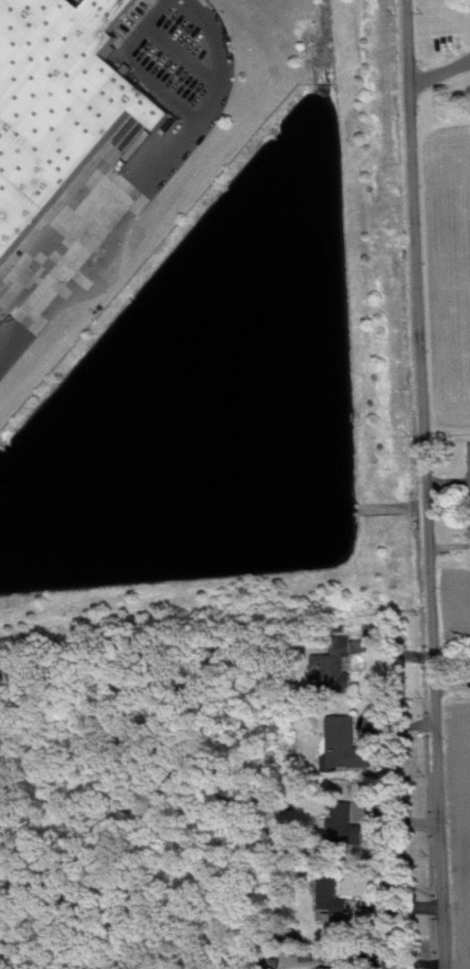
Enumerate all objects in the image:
road: (440, 79)
building: (57, 102)
road: (142, 188)
road: (426, 484)
building: (344, 669)
building: (351, 749)
building: (351, 829)

